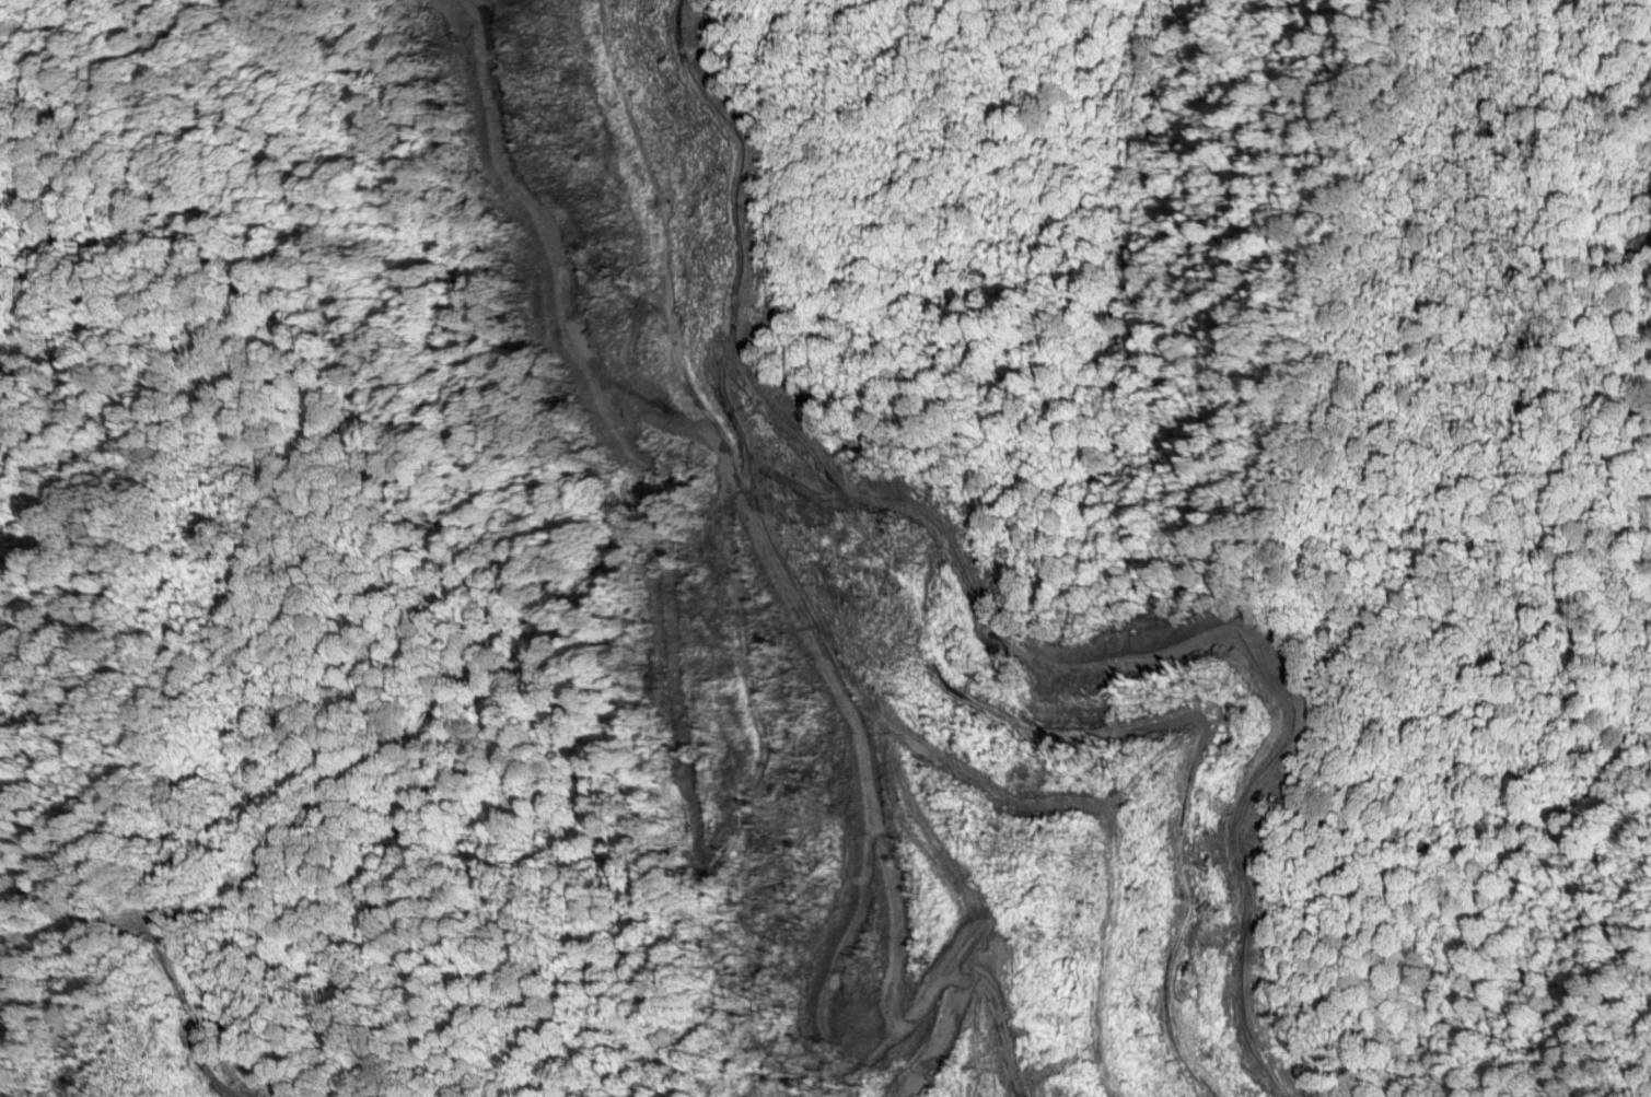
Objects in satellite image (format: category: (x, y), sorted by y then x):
quarry: (852, 630)
quarry: (178, 1043)

